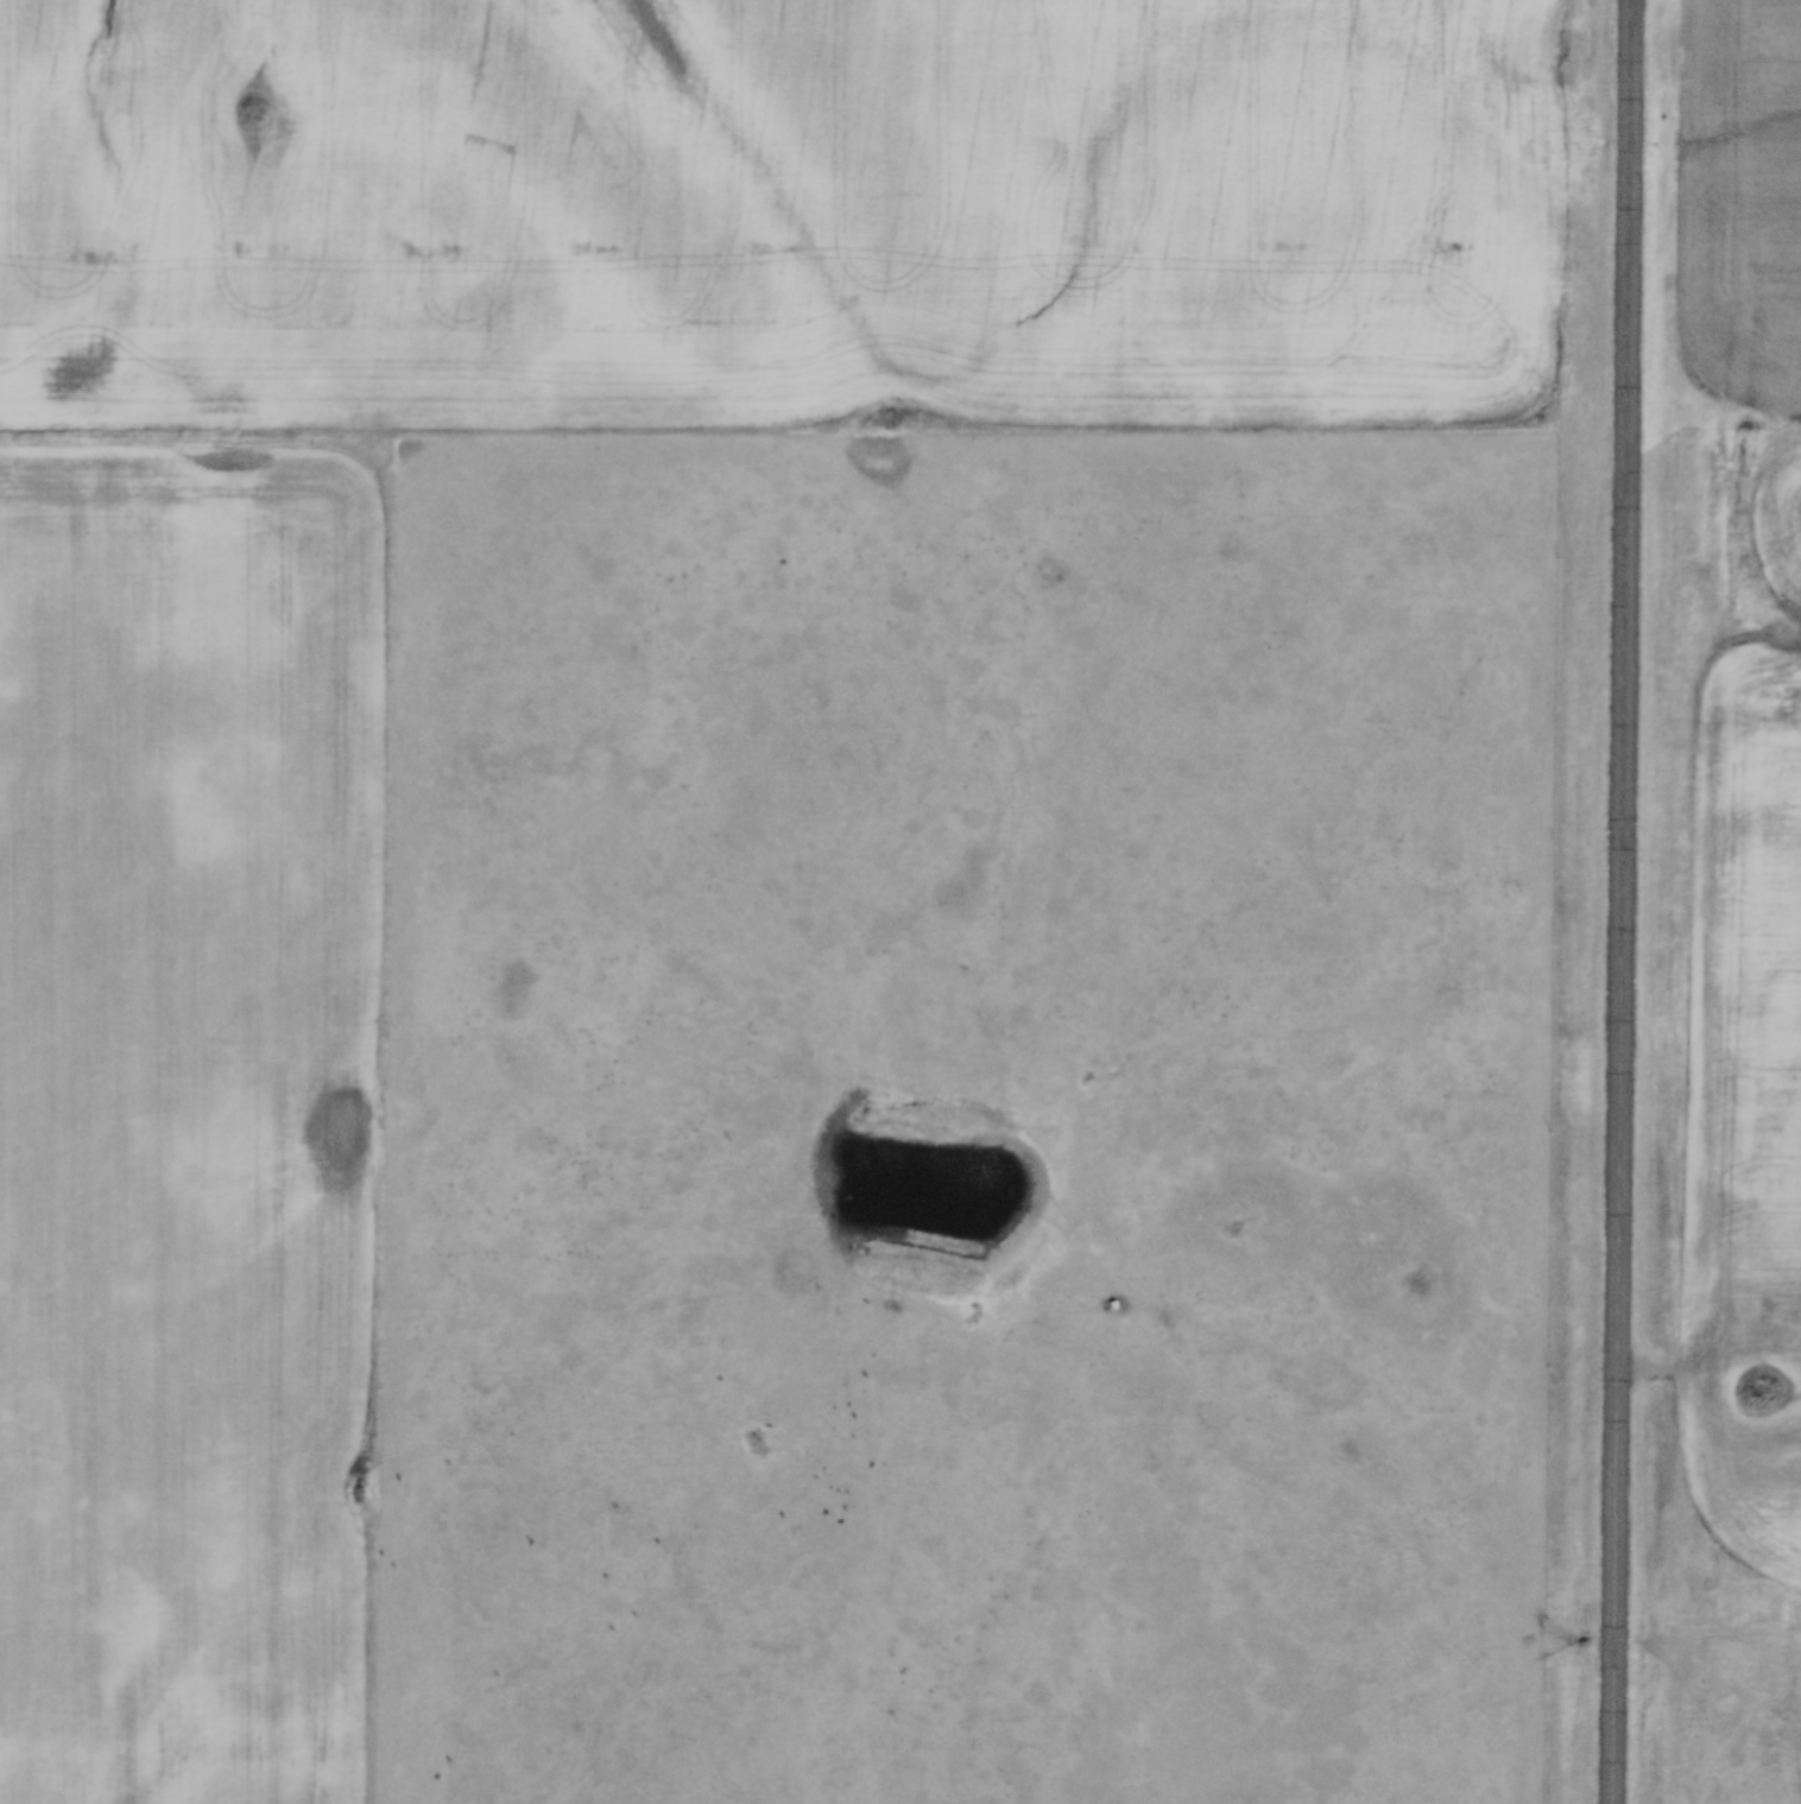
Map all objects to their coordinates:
road: (1623, 901)

